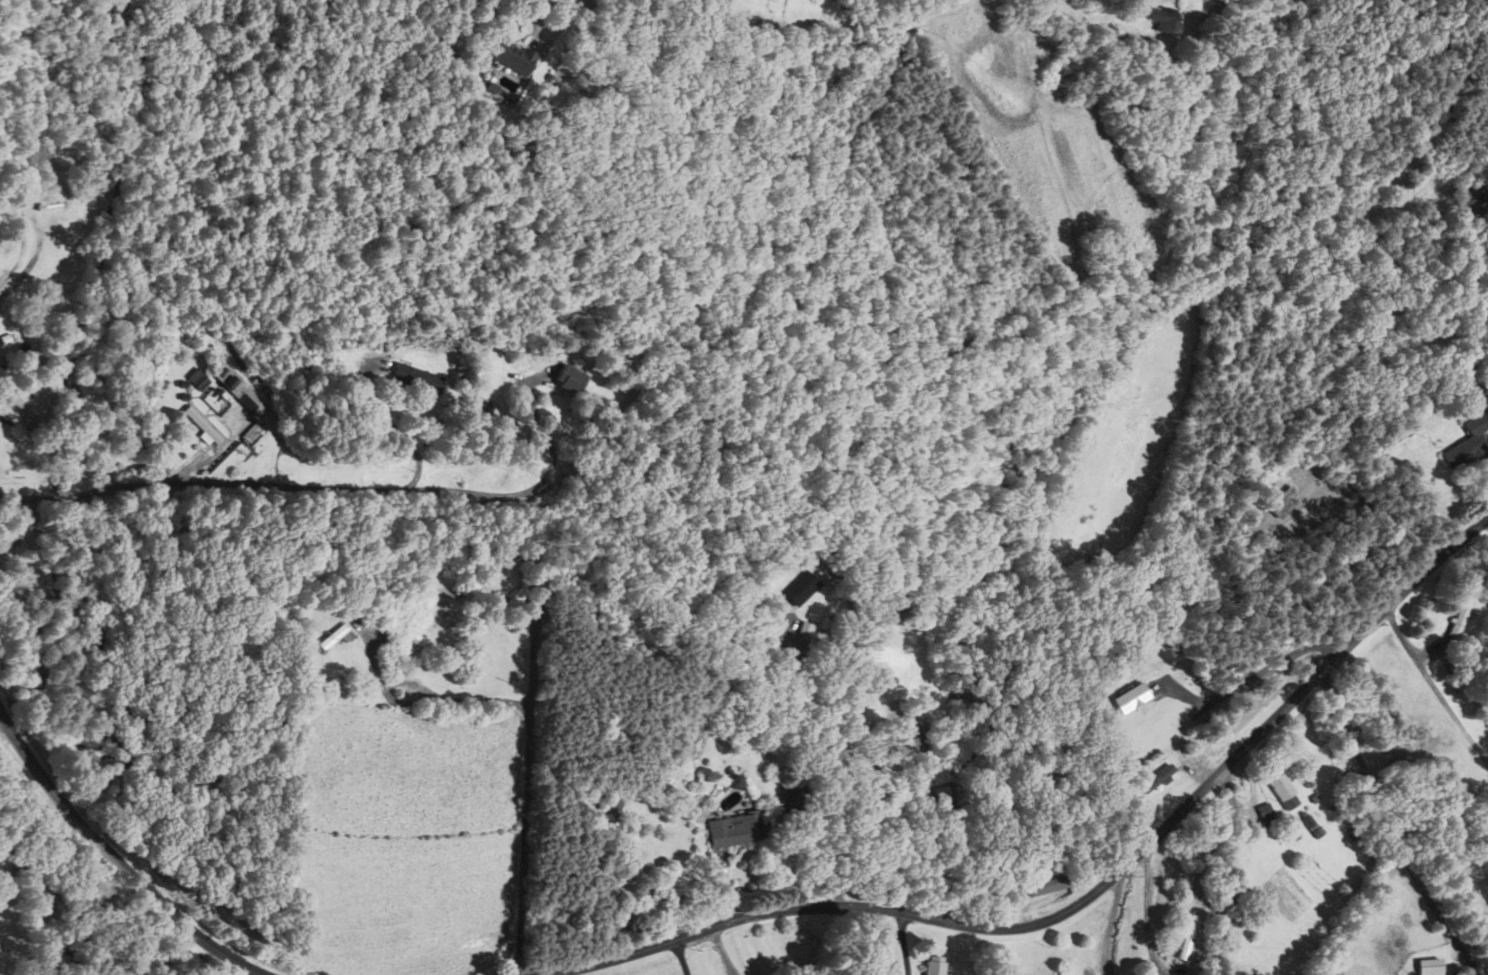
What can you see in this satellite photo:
building: (1166, 22)
road: (558, 26)
building: (511, 58)
building: (1470, 202)
road: (33, 259)
building: (418, 378)
building: (571, 378)
building: (202, 381)
road: (535, 413)
building: (207, 426)
road: (393, 428)
building: (1466, 446)
road: (282, 486)
building: (1285, 501)
building: (800, 587)
building: (1461, 615)
building: (335, 637)
building: (431, 647)
road: (1433, 688)
building: (912, 739)
road: (831, 767)
building: (1157, 780)
building: (1277, 785)
road: (1373, 790)
road: (526, 793)
building: (609, 805)
building: (1262, 814)
building: (733, 830)
road: (119, 862)
building: (1050, 885)
road: (1082, 902)
building: (1188, 937)
road: (905, 943)
road: (682, 957)
building: (933, 965)
building: (1428, 967)

